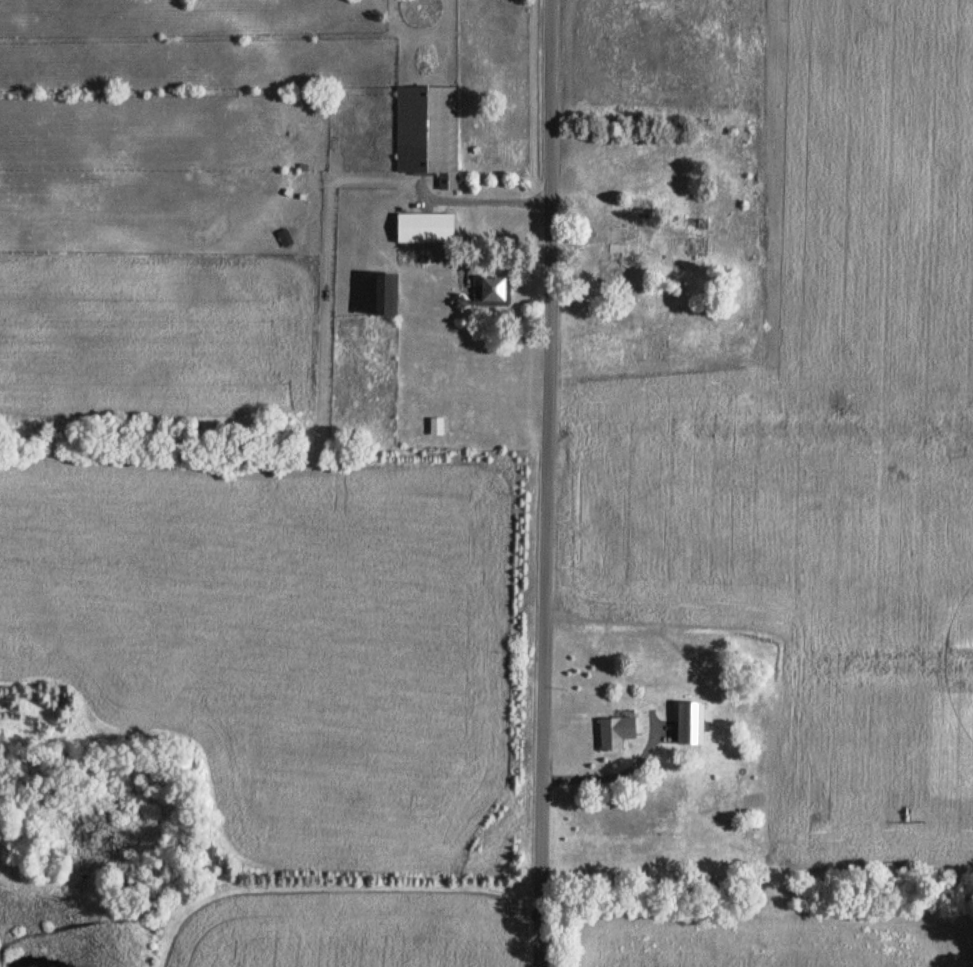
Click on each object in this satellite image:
building: (426, 133)
building: (647, 208)
building: (422, 229)
building: (695, 237)
building: (617, 253)
building: (492, 290)
building: (378, 294)
building: (434, 427)
road: (546, 483)
building: (686, 724)
building: (613, 734)
road: (609, 779)

